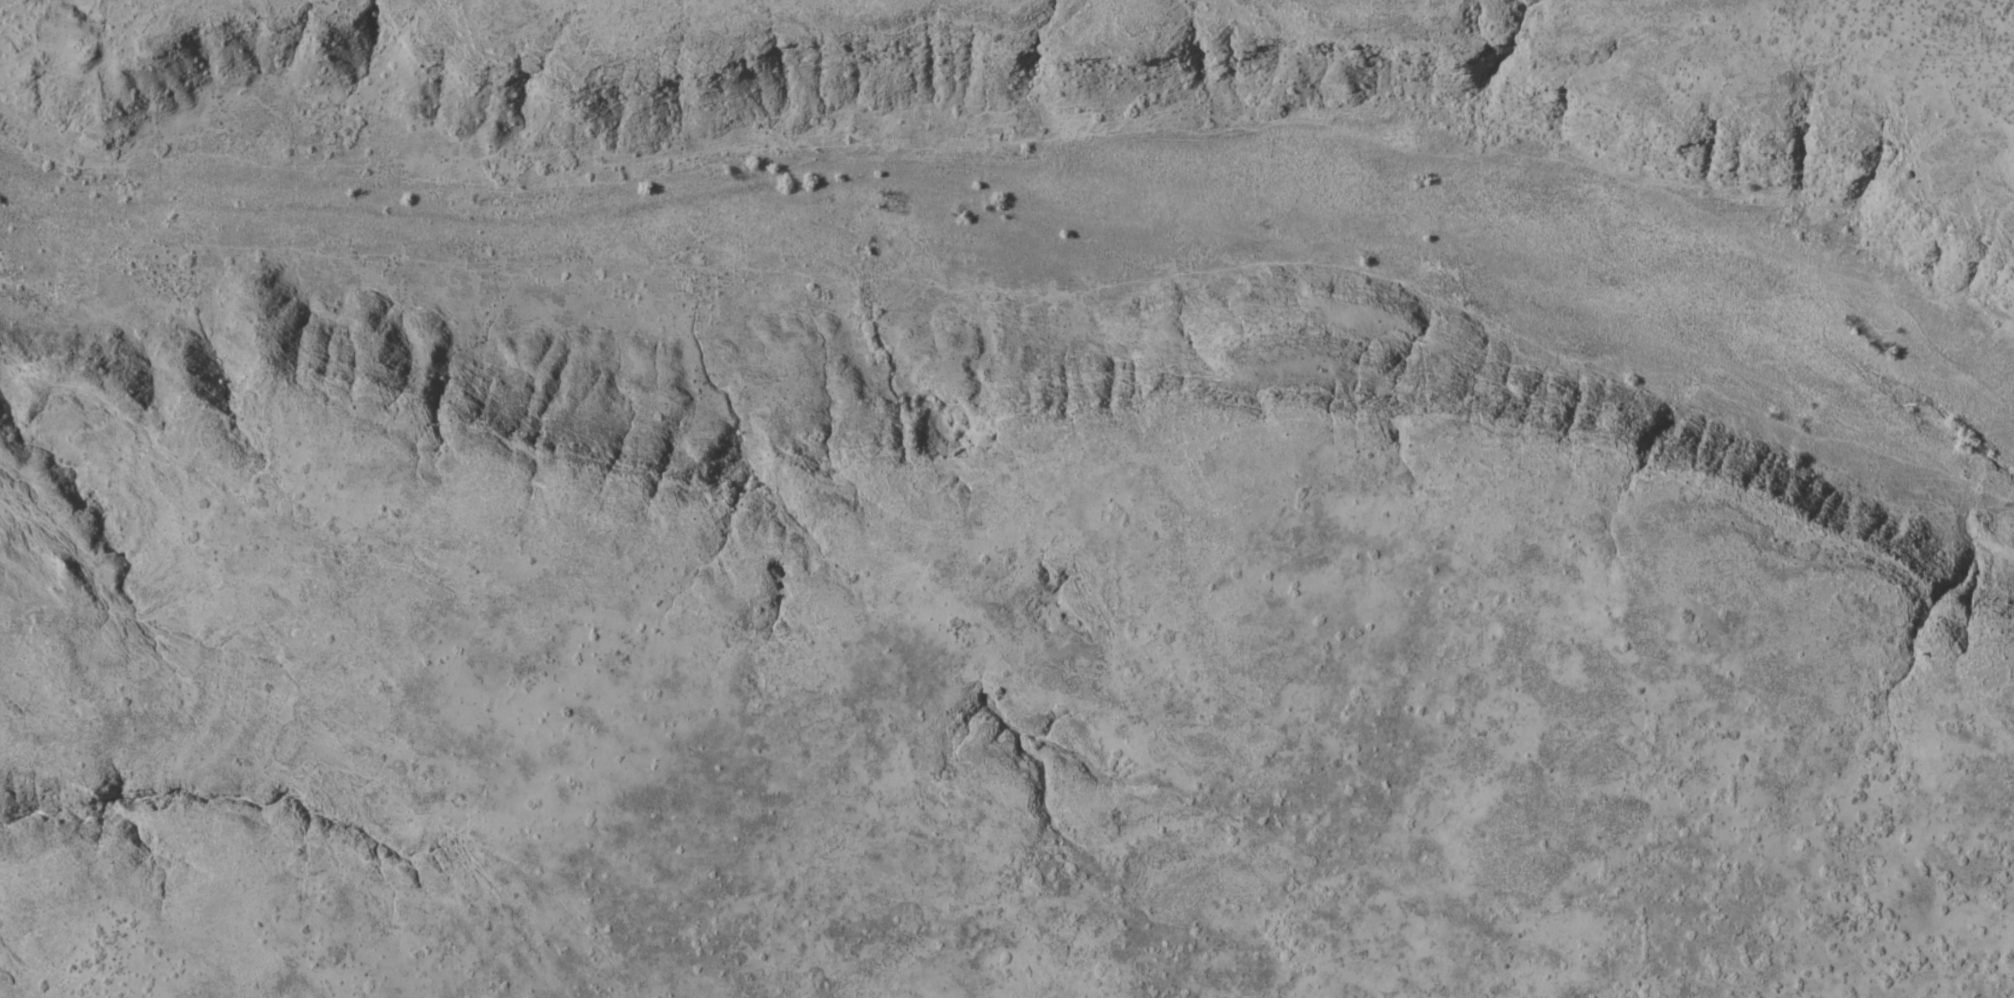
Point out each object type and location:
road: (1024, 103)

